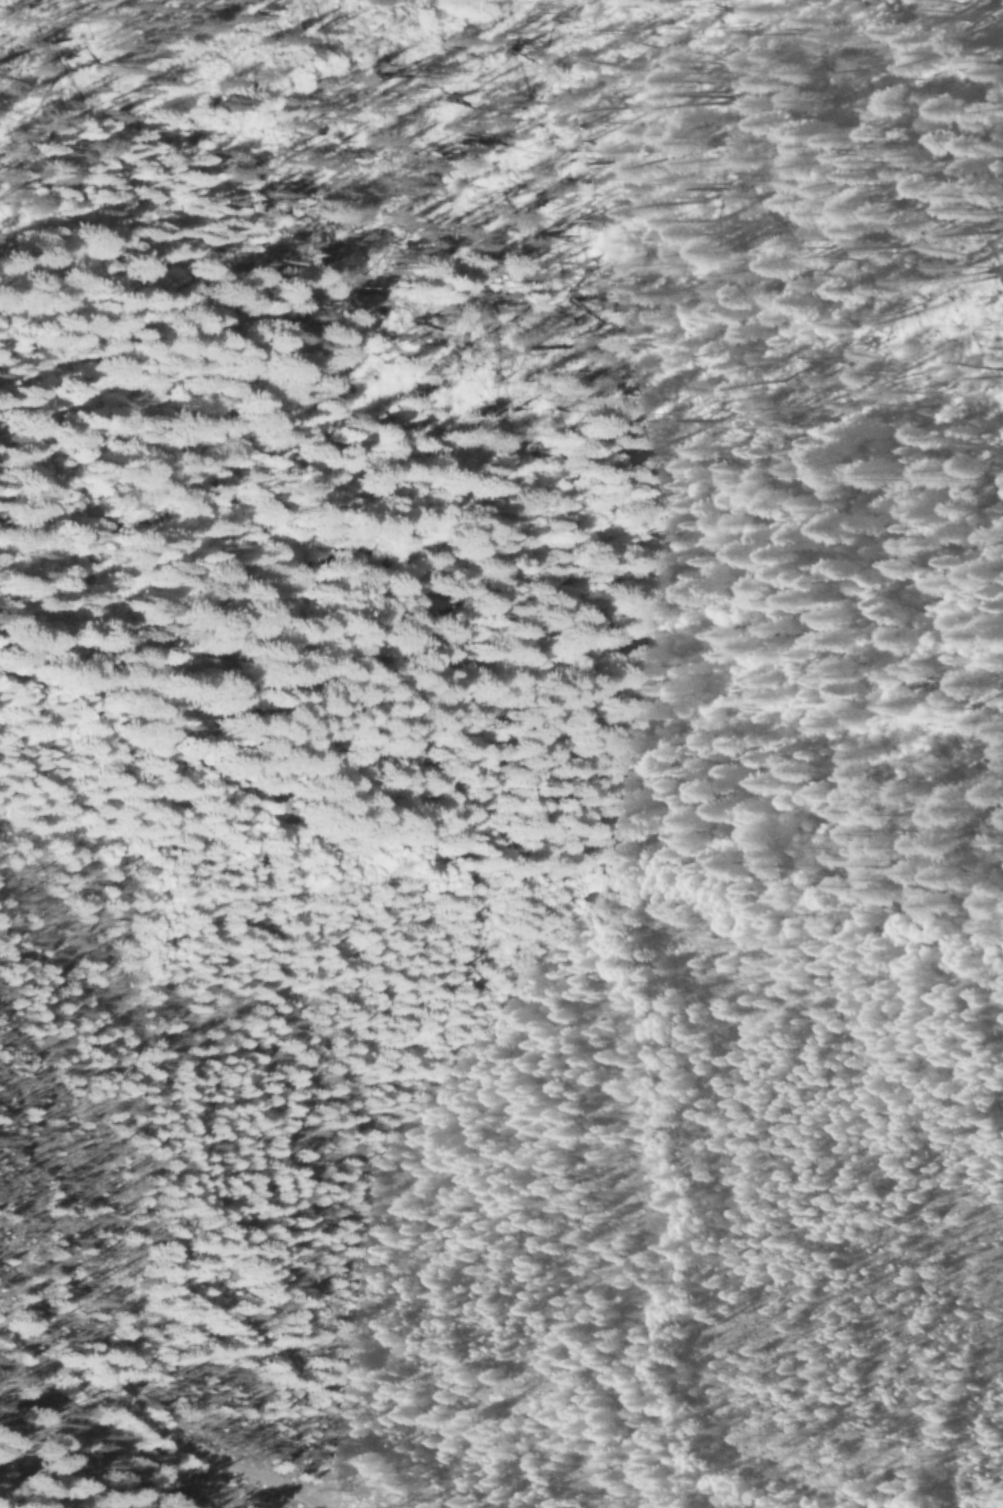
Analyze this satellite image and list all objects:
road: (147, 1427)

